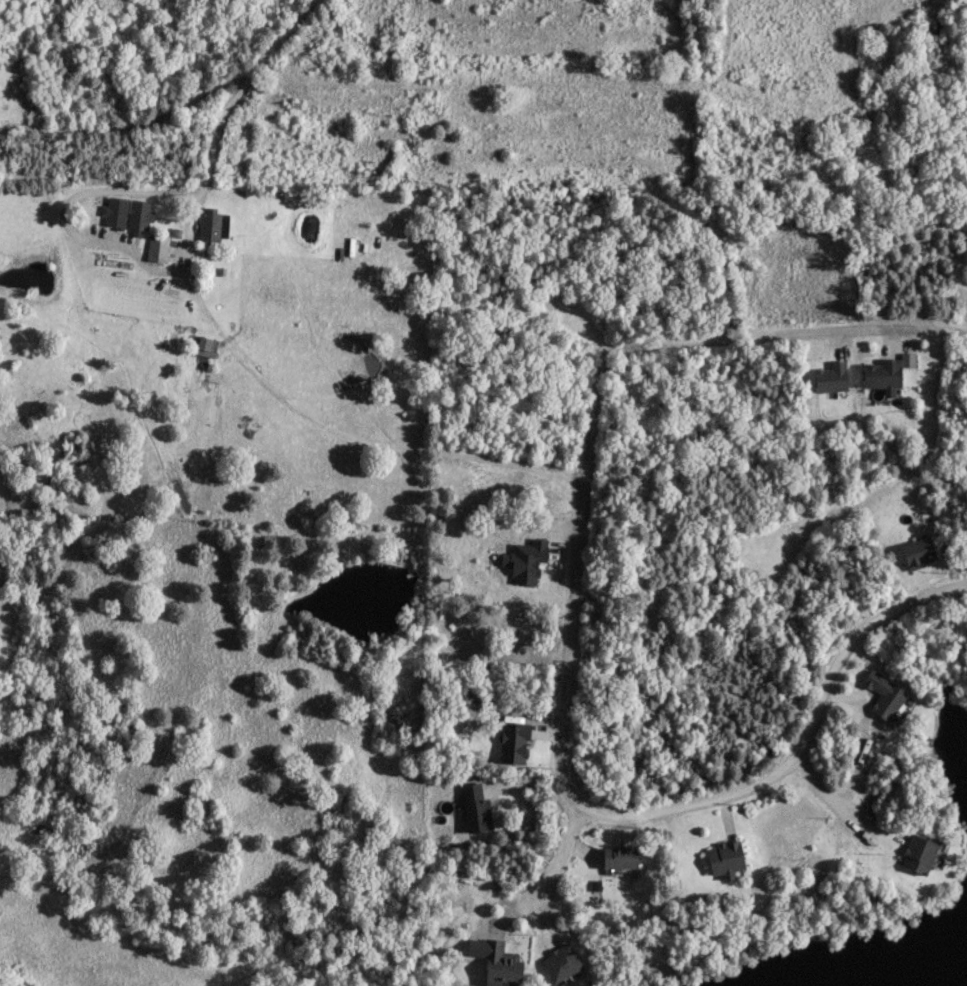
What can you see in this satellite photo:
road: (133, 124)
road: (216, 125)
road: (63, 211)
building: (127, 211)
building: (213, 226)
building: (156, 247)
road: (802, 330)
building: (202, 344)
building: (882, 375)
building: (830, 377)
road: (344, 440)
road: (579, 555)
building: (883, 694)
building: (512, 744)
road: (794, 751)
road: (832, 803)
building: (475, 806)
building: (918, 853)
building: (619, 855)
building: (725, 857)
road: (552, 866)
building: (560, 960)
building: (501, 964)

